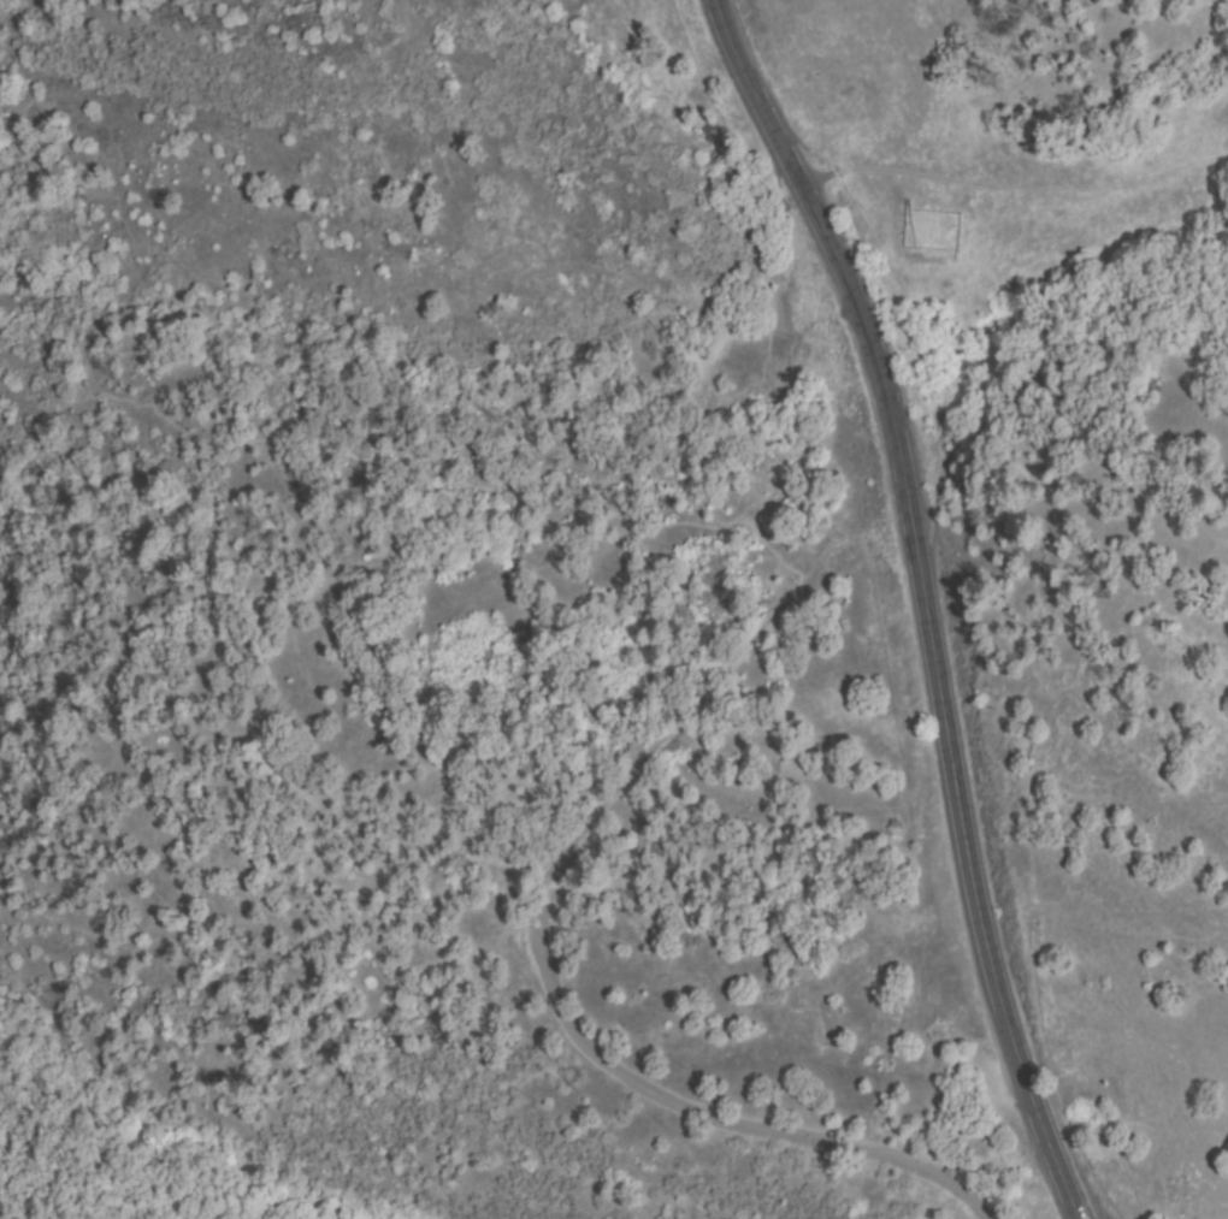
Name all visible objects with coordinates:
road: (495, 582)
road: (923, 599)
road: (726, 1122)
road: (119, 1153)

